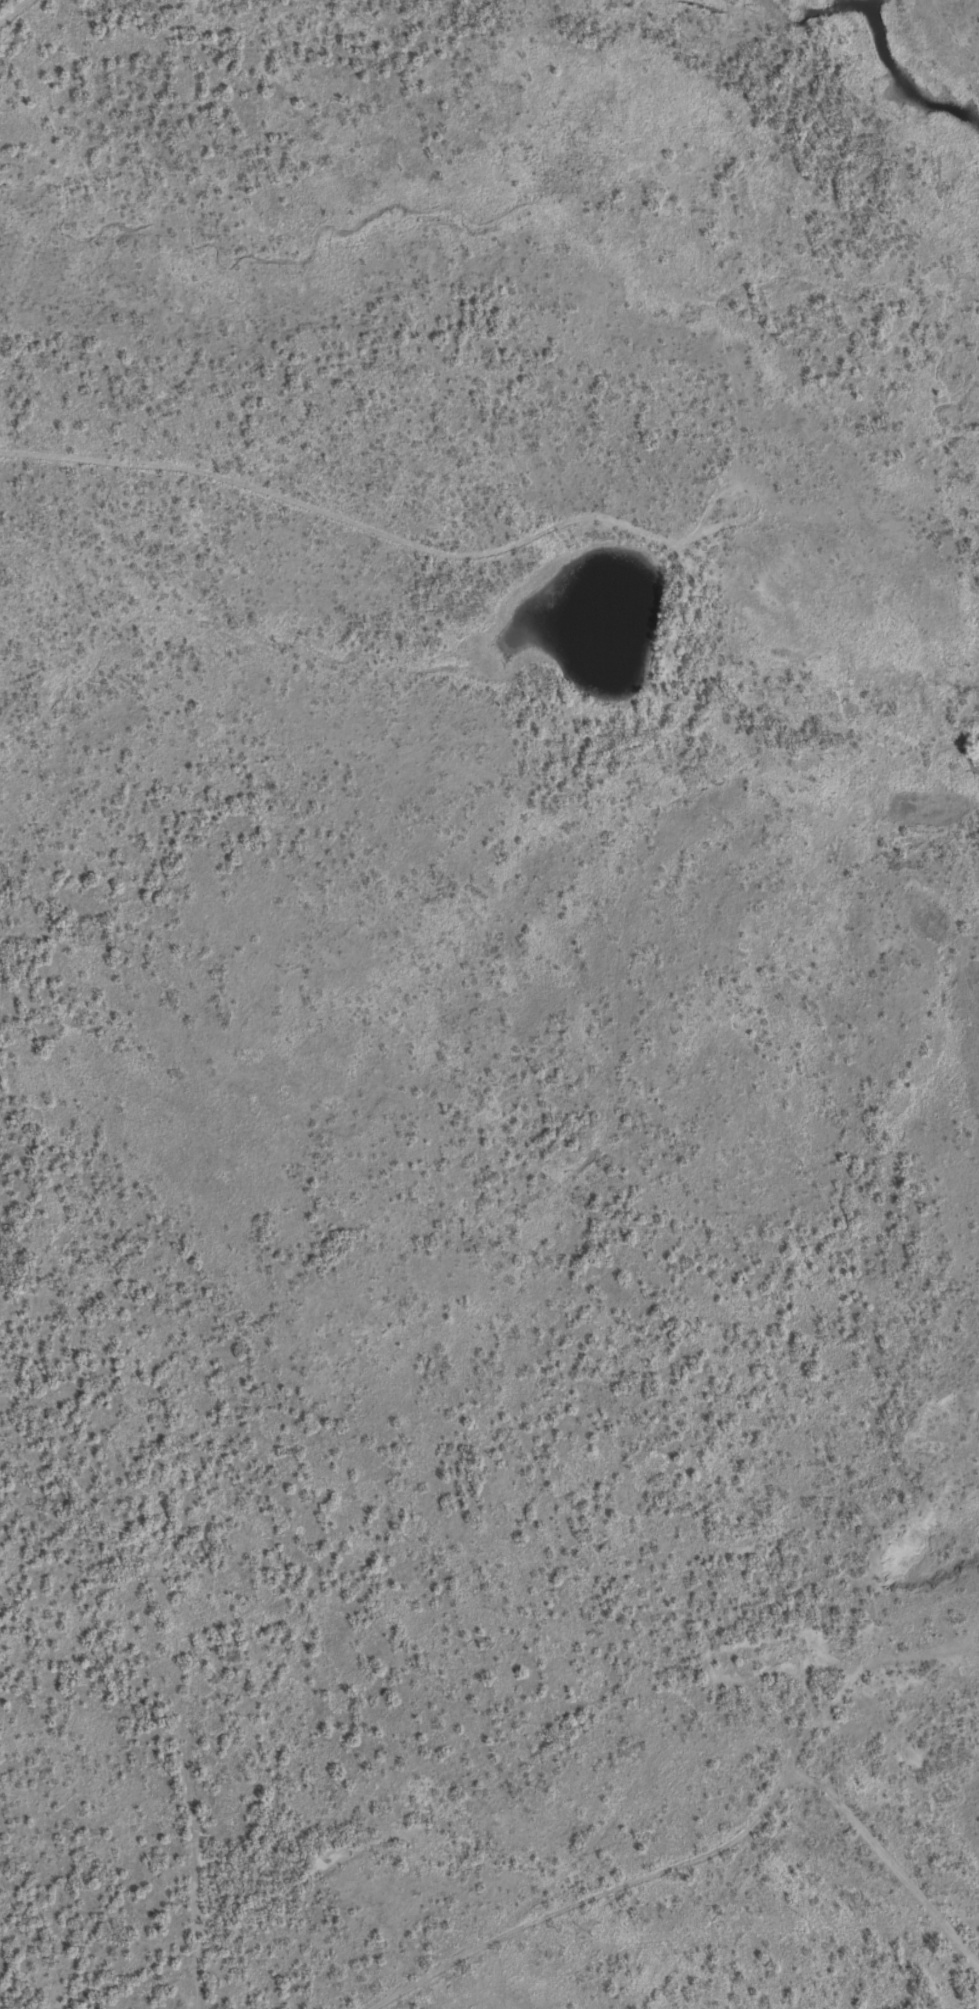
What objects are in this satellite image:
road: (34, 24)
road: (237, 453)
road: (838, 1663)
road: (203, 1807)
road: (707, 1828)

